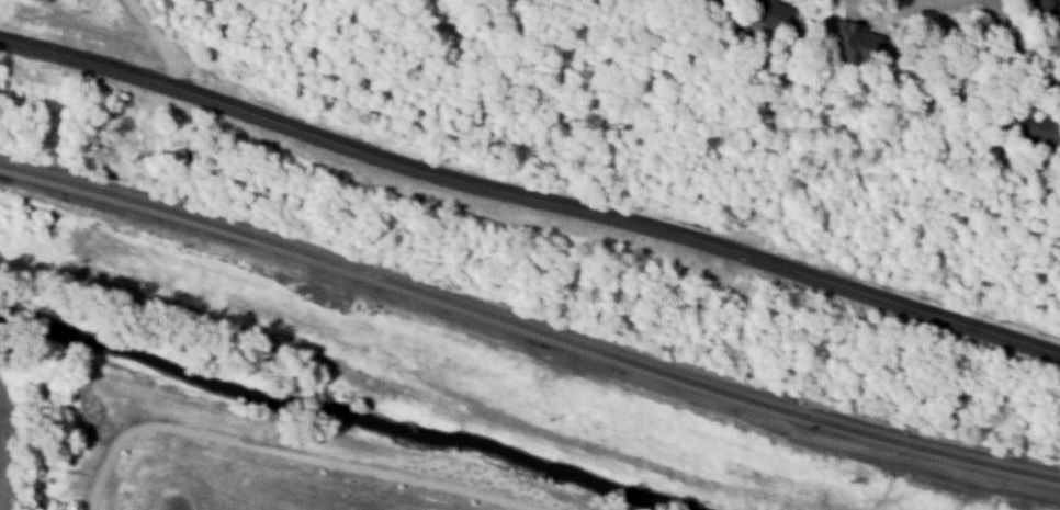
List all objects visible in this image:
building: (1049, 8)
building: (773, 19)
road: (158, 42)
building: (853, 42)
road: (1019, 44)
building: (960, 80)
building: (1030, 126)
road: (530, 194)
railway: (528, 325)
road: (284, 451)
park: (271, 457)

